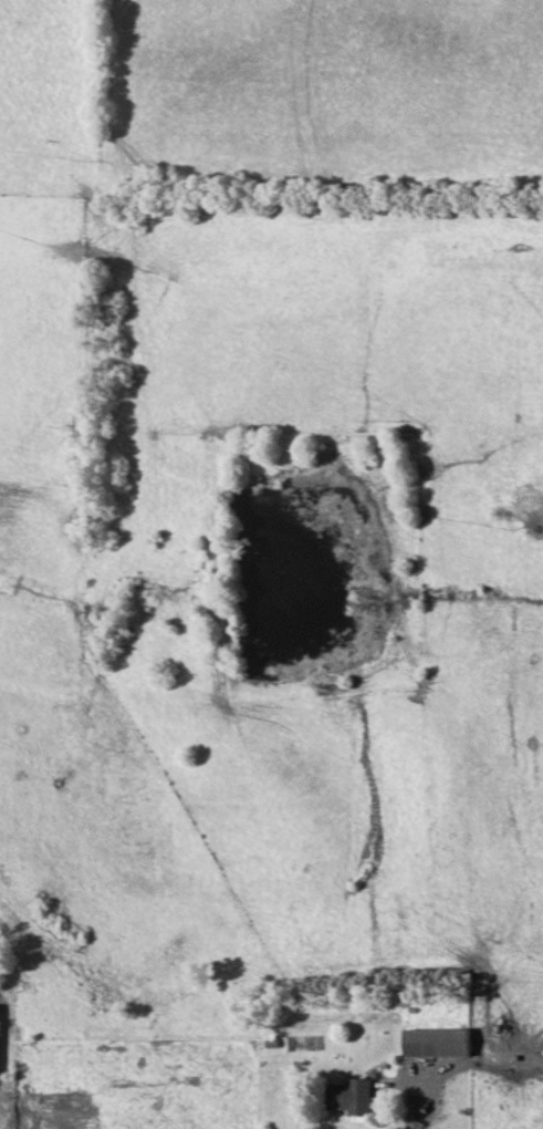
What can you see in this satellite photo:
building: (0, 1038)
building: (445, 1043)
building: (356, 1097)

